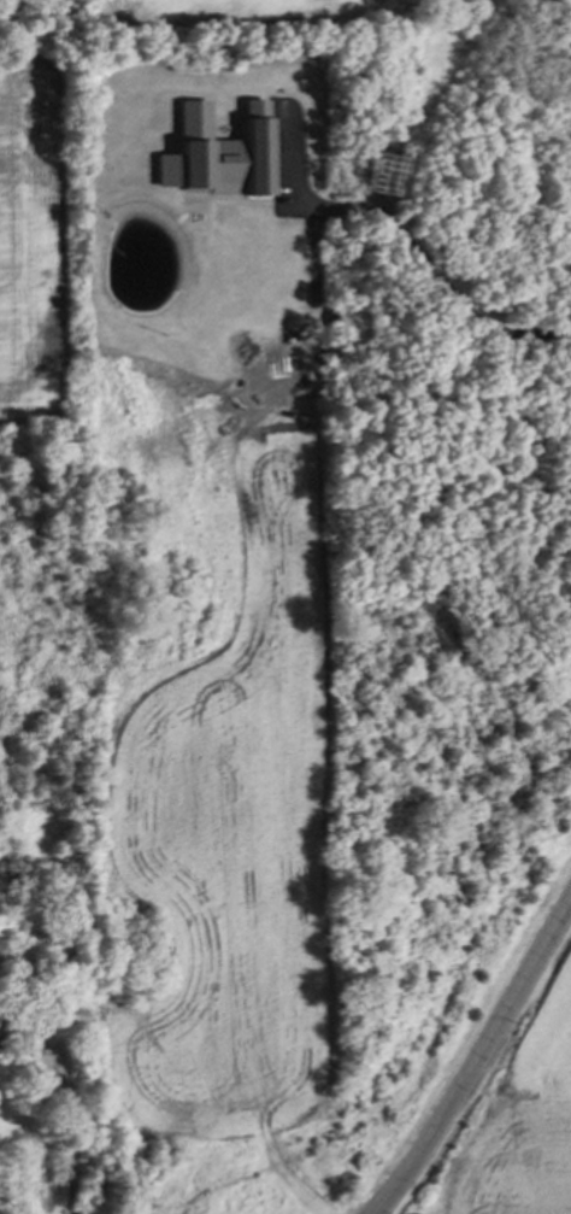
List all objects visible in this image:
building: (218, 149)
road: (402, 242)
building: (346, 317)
building: (43, 960)
building: (64, 1015)
building: (1, 1039)
road: (484, 1069)
road: (69, 1127)
crop: (520, 1128)

